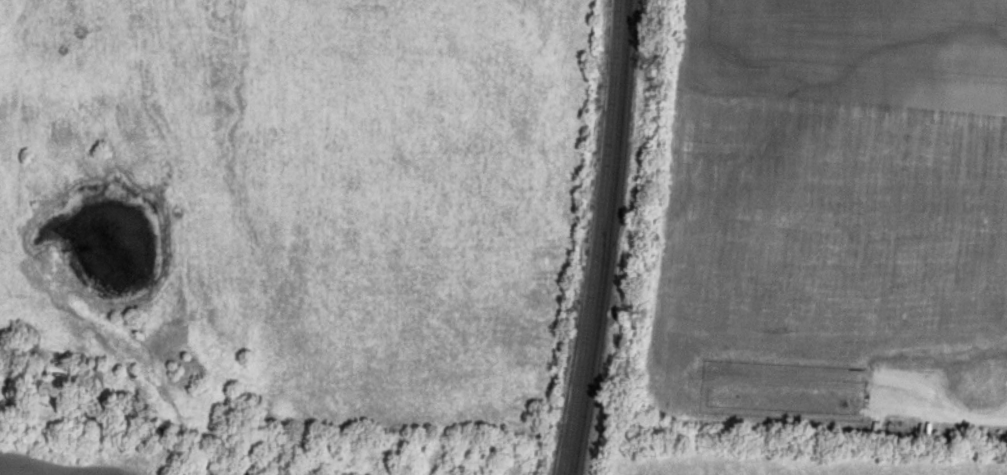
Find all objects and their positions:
railway: (597, 238)
railway: (607, 238)

